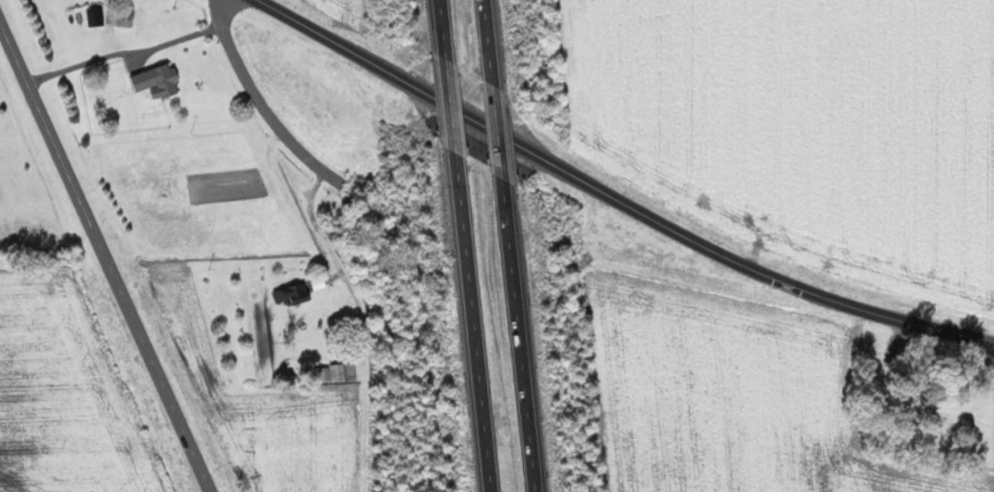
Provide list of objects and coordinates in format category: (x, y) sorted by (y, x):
building: (96, 17)
building: (124, 17)
road: (440, 29)
road: (485, 42)
road: (124, 52)
building: (159, 80)
road: (261, 102)
road: (448, 106)
road: (495, 132)
road: (543, 156)
road: (105, 258)
building: (320, 283)
building: (293, 294)
road: (912, 321)
road: (470, 322)
road: (517, 335)

